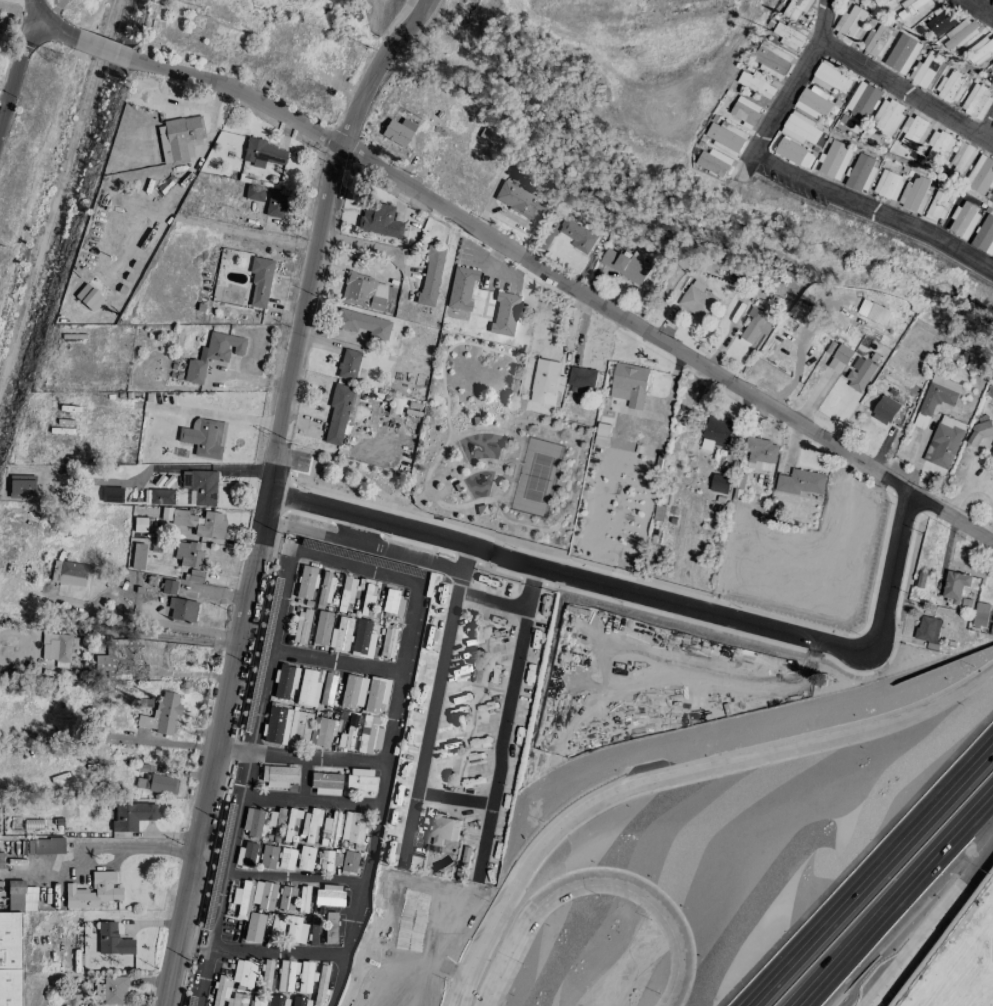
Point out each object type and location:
building: (880, 2)
building: (991, 2)
building: (915, 5)
building: (795, 8)
road: (979, 8)
road: (52, 12)
building: (941, 22)
building: (849, 24)
road: (46, 26)
building: (960, 33)
building: (789, 35)
building: (876, 42)
building: (980, 49)
road: (101, 50)
building: (902, 53)
building: (772, 59)
building: (992, 64)
road: (15, 68)
building: (925, 69)
building: (830, 77)
building: (756, 83)
building: (950, 86)
road: (898, 88)
building: (862, 100)
building: (977, 100)
building: (813, 102)
building: (745, 111)
building: (886, 118)
building: (800, 128)
building: (913, 130)
building: (398, 132)
road: (979, 135)
building: (487, 137)
building: (726, 137)
building: (177, 138)
building: (939, 145)
building: (790, 151)
building: (263, 154)
building: (834, 159)
building: (961, 159)
building: (713, 162)
building: (861, 172)
building: (980, 175)
road: (798, 178)
building: (888, 184)
railway: (58, 192)
building: (254, 194)
building: (914, 194)
building: (523, 202)
building: (275, 204)
building: (937, 207)
building: (963, 219)
building: (379, 220)
building: (577, 235)
building: (626, 264)
building: (428, 277)
building: (259, 282)
road: (568, 284)
building: (460, 289)
building: (363, 292)
building: (88, 297)
building: (696, 301)
building: (504, 315)
building: (362, 324)
building: (754, 326)
road: (802, 341)
building: (213, 355)
building: (840, 358)
building: (347, 365)
building: (860, 375)
building: (582, 380)
building: (547, 381)
building: (630, 384)
building: (937, 397)
building: (394, 406)
building: (885, 410)
building: (339, 413)
road: (213, 416)
road: (518, 420)
building: (477, 422)
road: (518, 427)
building: (718, 430)
building: (981, 430)
building: (602, 434)
building: (204, 438)
building: (944, 441)
park: (475, 451)
building: (991, 453)
building: (761, 454)
parking lot: (301, 462)
road: (469, 463)
road: (485, 465)
road: (500, 466)
road: (154, 468)
road: (469, 469)
road: (470, 473)
park: (537, 477)
road: (444, 482)
building: (800, 482)
building: (719, 483)
building: (20, 487)
building: (200, 487)
building: (458, 487)
road: (266, 491)
building: (111, 495)
building: (160, 497)
road: (484, 500)
building: (481, 511)
building: (139, 525)
road: (276, 544)
building: (188, 555)
building: (137, 557)
road: (460, 563)
road: (348, 565)
building: (68, 573)
building: (195, 576)
building: (305, 582)
building: (958, 584)
building: (168, 587)
building: (325, 588)
road: (528, 590)
building: (345, 592)
road: (644, 597)
building: (367, 600)
building: (392, 602)
building: (182, 610)
building: (980, 614)
road: (447, 620)
building: (301, 627)
building: (468, 627)
building: (321, 628)
building: (927, 628)
building: (340, 635)
road: (149, 636)
building: (362, 639)
building: (387, 642)
building: (55, 647)
building: (122, 660)
building: (479, 676)
building: (284, 681)
building: (307, 689)
building: (327, 690)
building: (353, 692)
building: (375, 694)
road: (503, 711)
building: (161, 714)
building: (285, 726)
building: (323, 733)
building: (347, 734)
building: (369, 735)
road: (155, 742)
road: (365, 764)
road: (676, 772)
building: (278, 777)
building: (360, 781)
building: (155, 784)
building: (326, 784)
road: (311, 800)
road: (447, 801)
building: (131, 816)
building: (252, 822)
building: (291, 823)
building: (353, 828)
building: (440, 828)
building: (329, 830)
building: (45, 846)
road: (124, 849)
building: (246, 854)
building: (267, 857)
building: (285, 859)
building: (305, 859)
building: (349, 862)
road: (871, 875)
road: (294, 876)
road: (226, 879)
road: (582, 886)
building: (93, 892)
building: (263, 895)
building: (328, 896)
building: (20, 897)
building: (286, 899)
building: (242, 900)
building: (303, 900)
road: (894, 901)
road: (925, 918)
road: (351, 923)
building: (276, 925)
building: (253, 928)
building: (330, 929)
building: (295, 931)
building: (112, 941)
building: (10, 959)
building: (243, 973)
building: (266, 975)
building: (286, 976)
building: (305, 977)
road: (336, 980)
building: (111, 991)
building: (226, 994)
building: (295, 1001)
building: (257, 1002)

